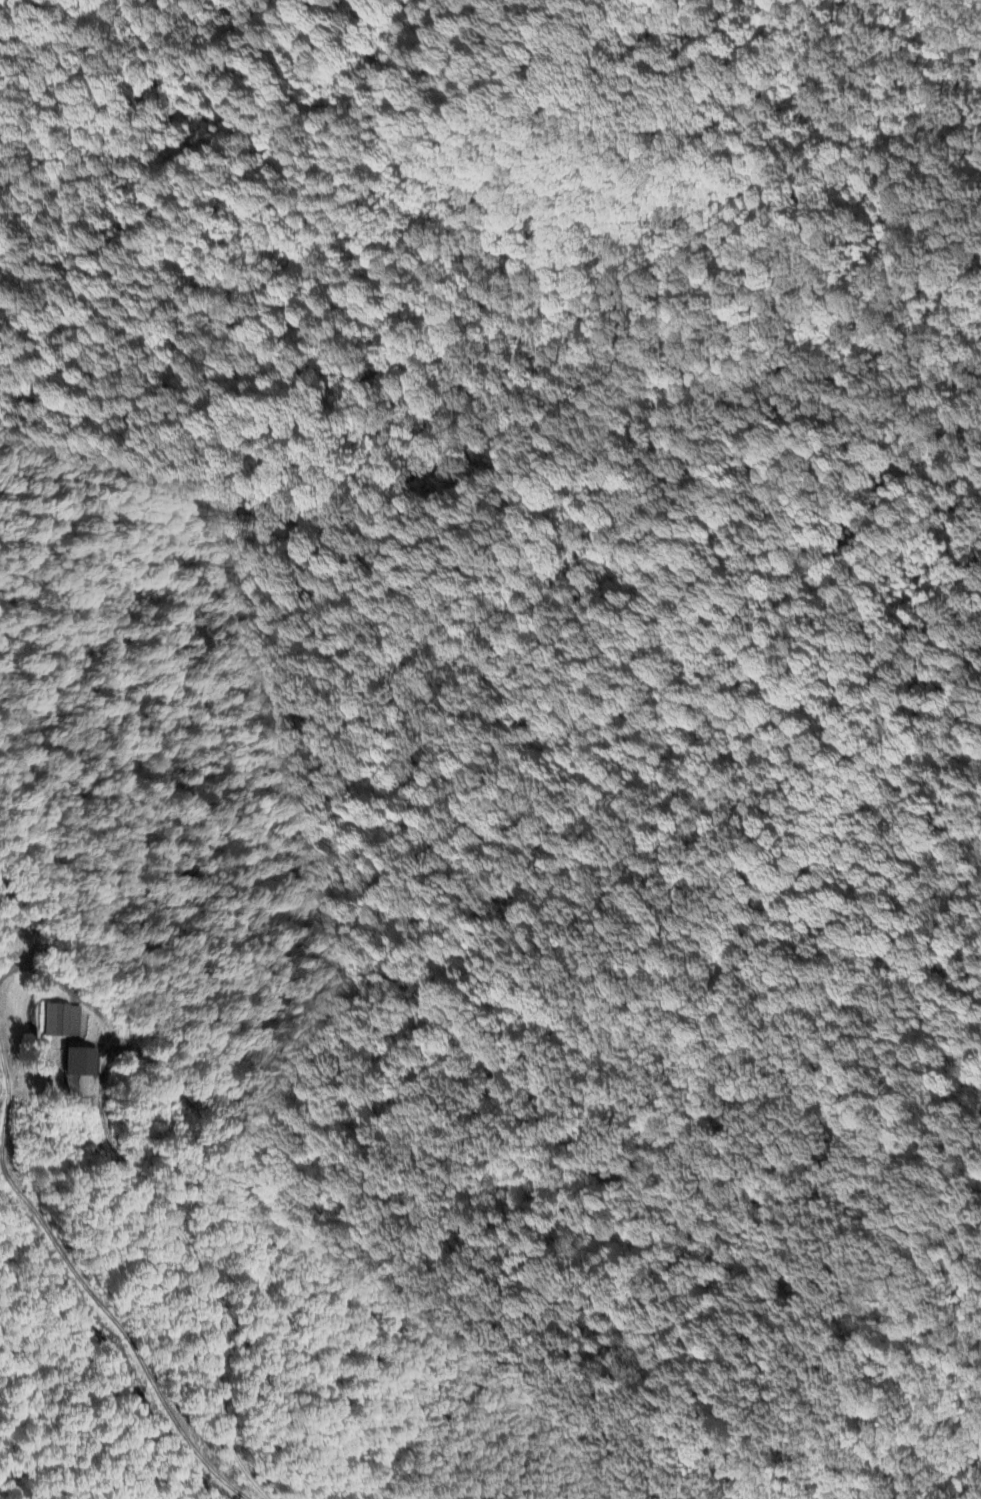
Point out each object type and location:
building: (62, 1020)
building: (80, 1062)
road: (154, 1199)
road: (83, 1285)

